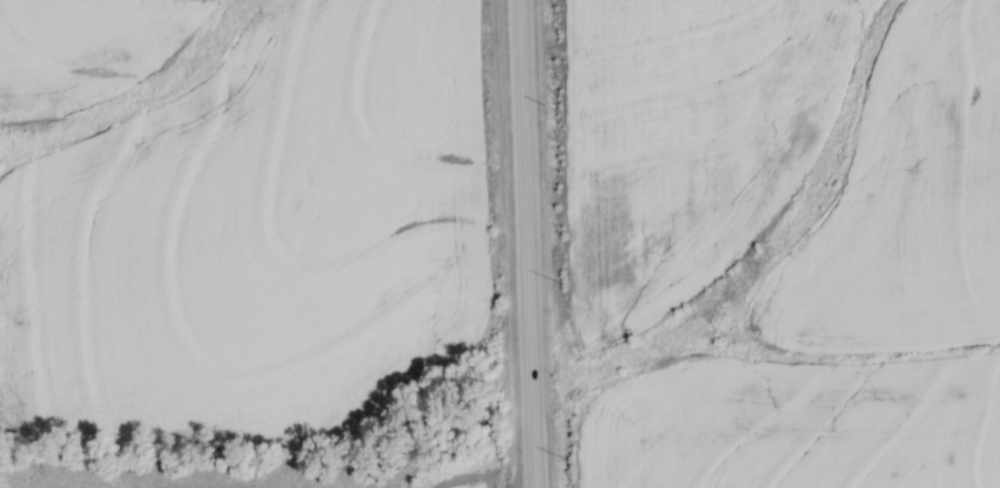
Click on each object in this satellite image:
road: (527, 244)

